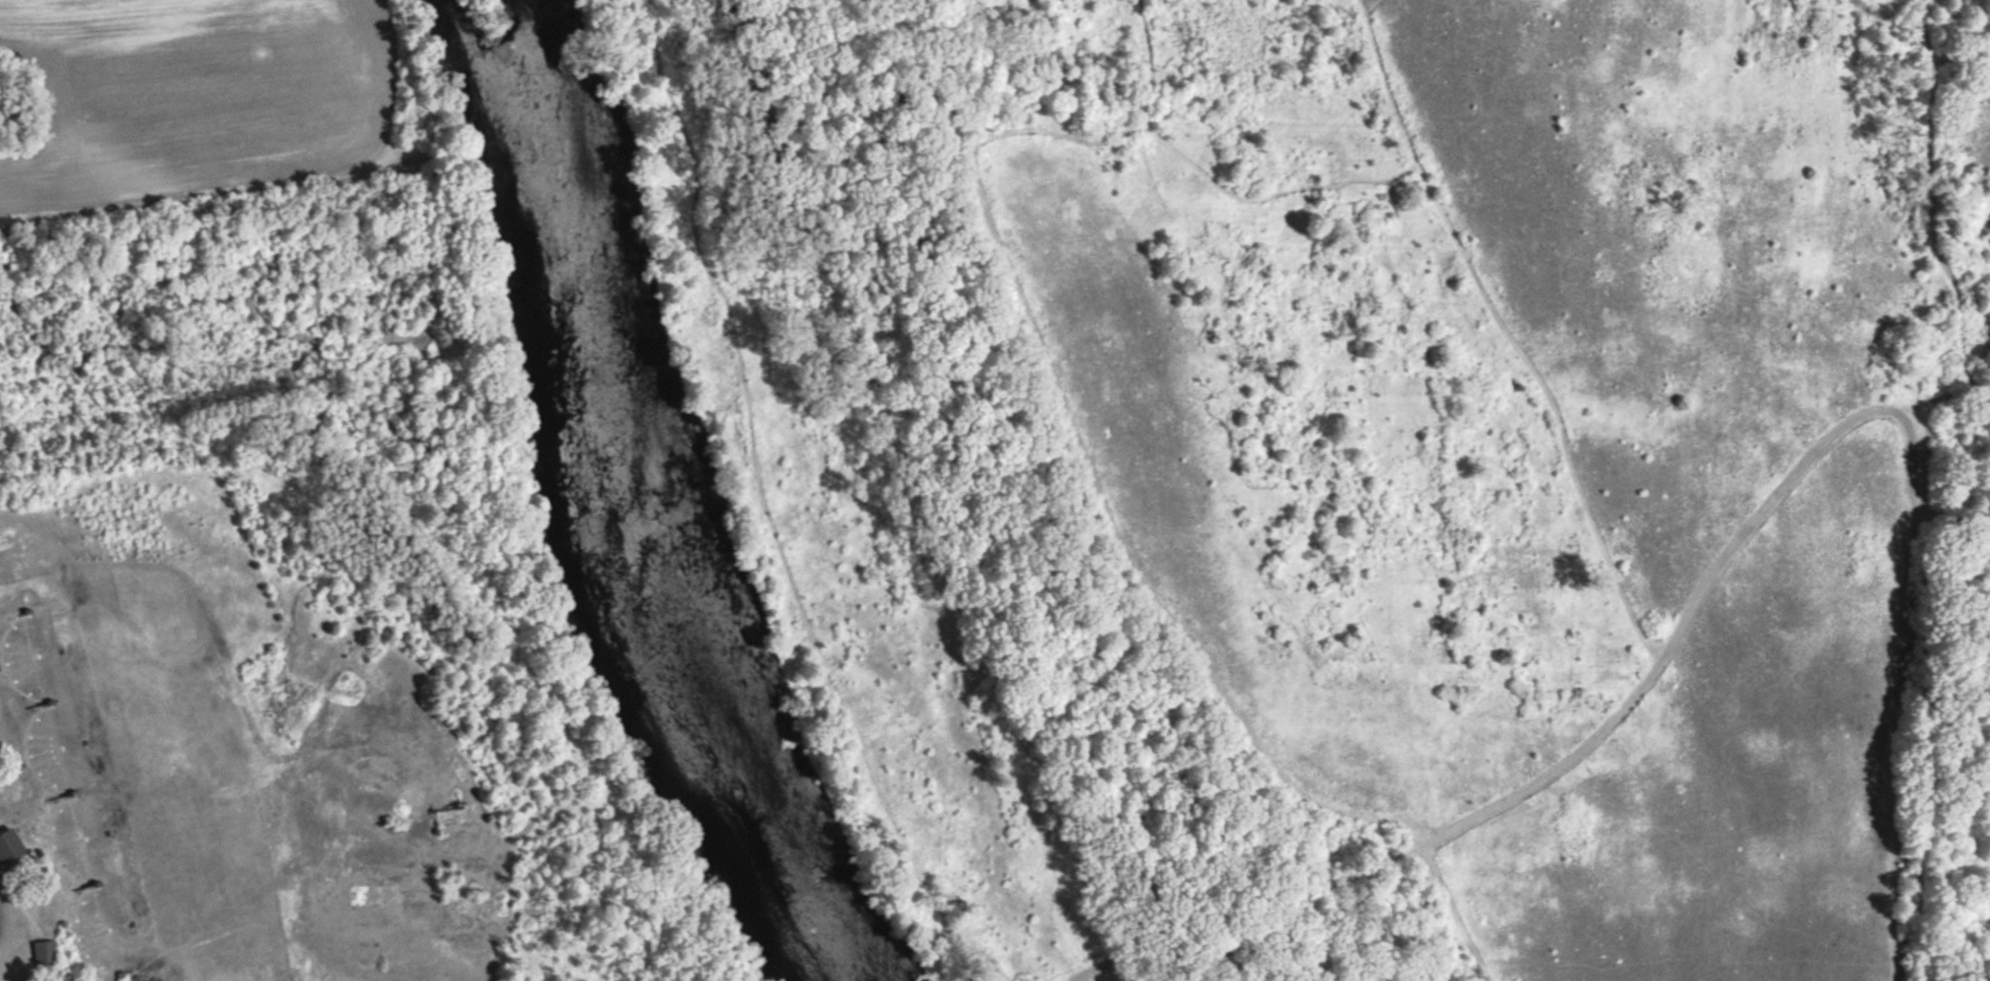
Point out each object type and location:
park: (1353, 471)
river: (633, 505)
building: (9, 847)
road: (2, 926)
building: (43, 951)

